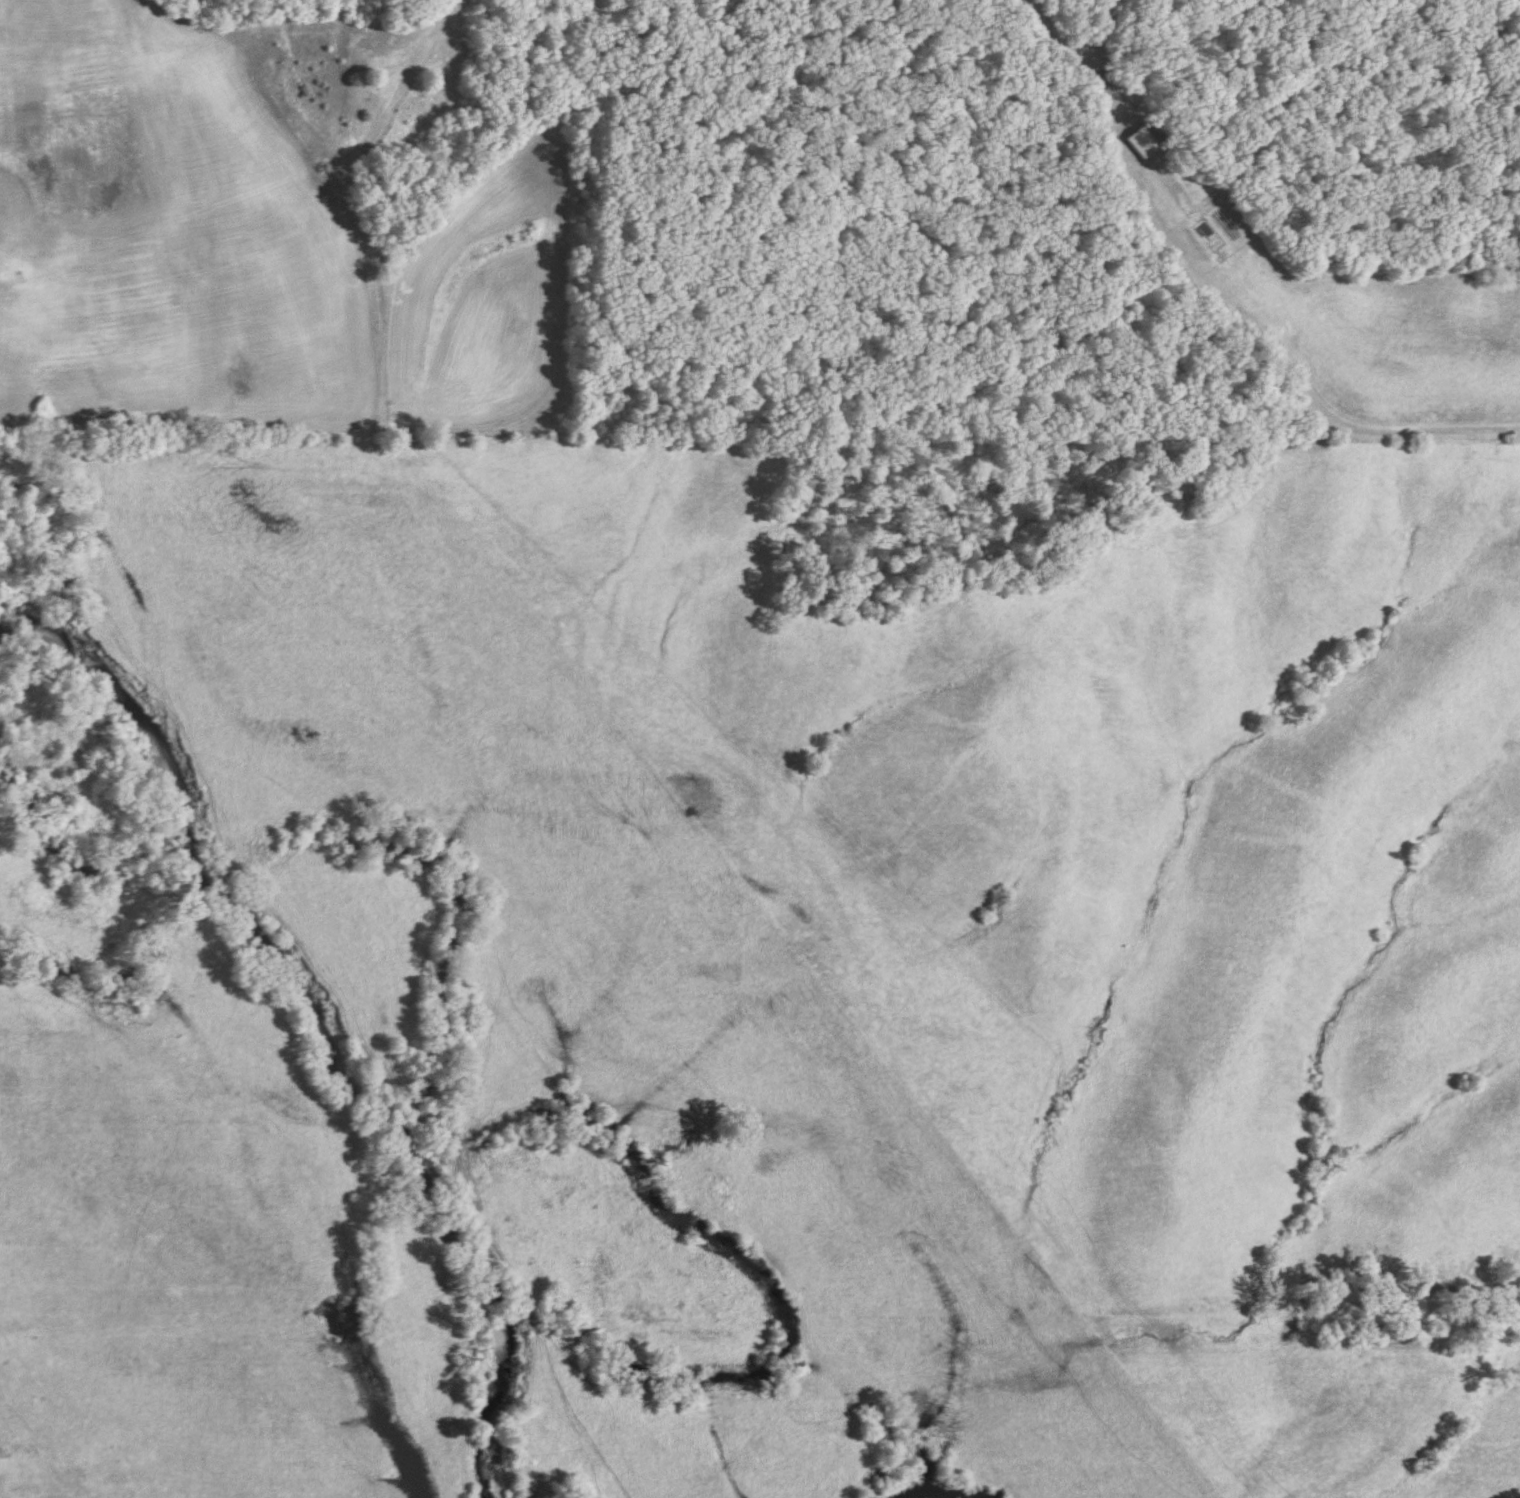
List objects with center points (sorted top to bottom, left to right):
building: (1133, 143)

